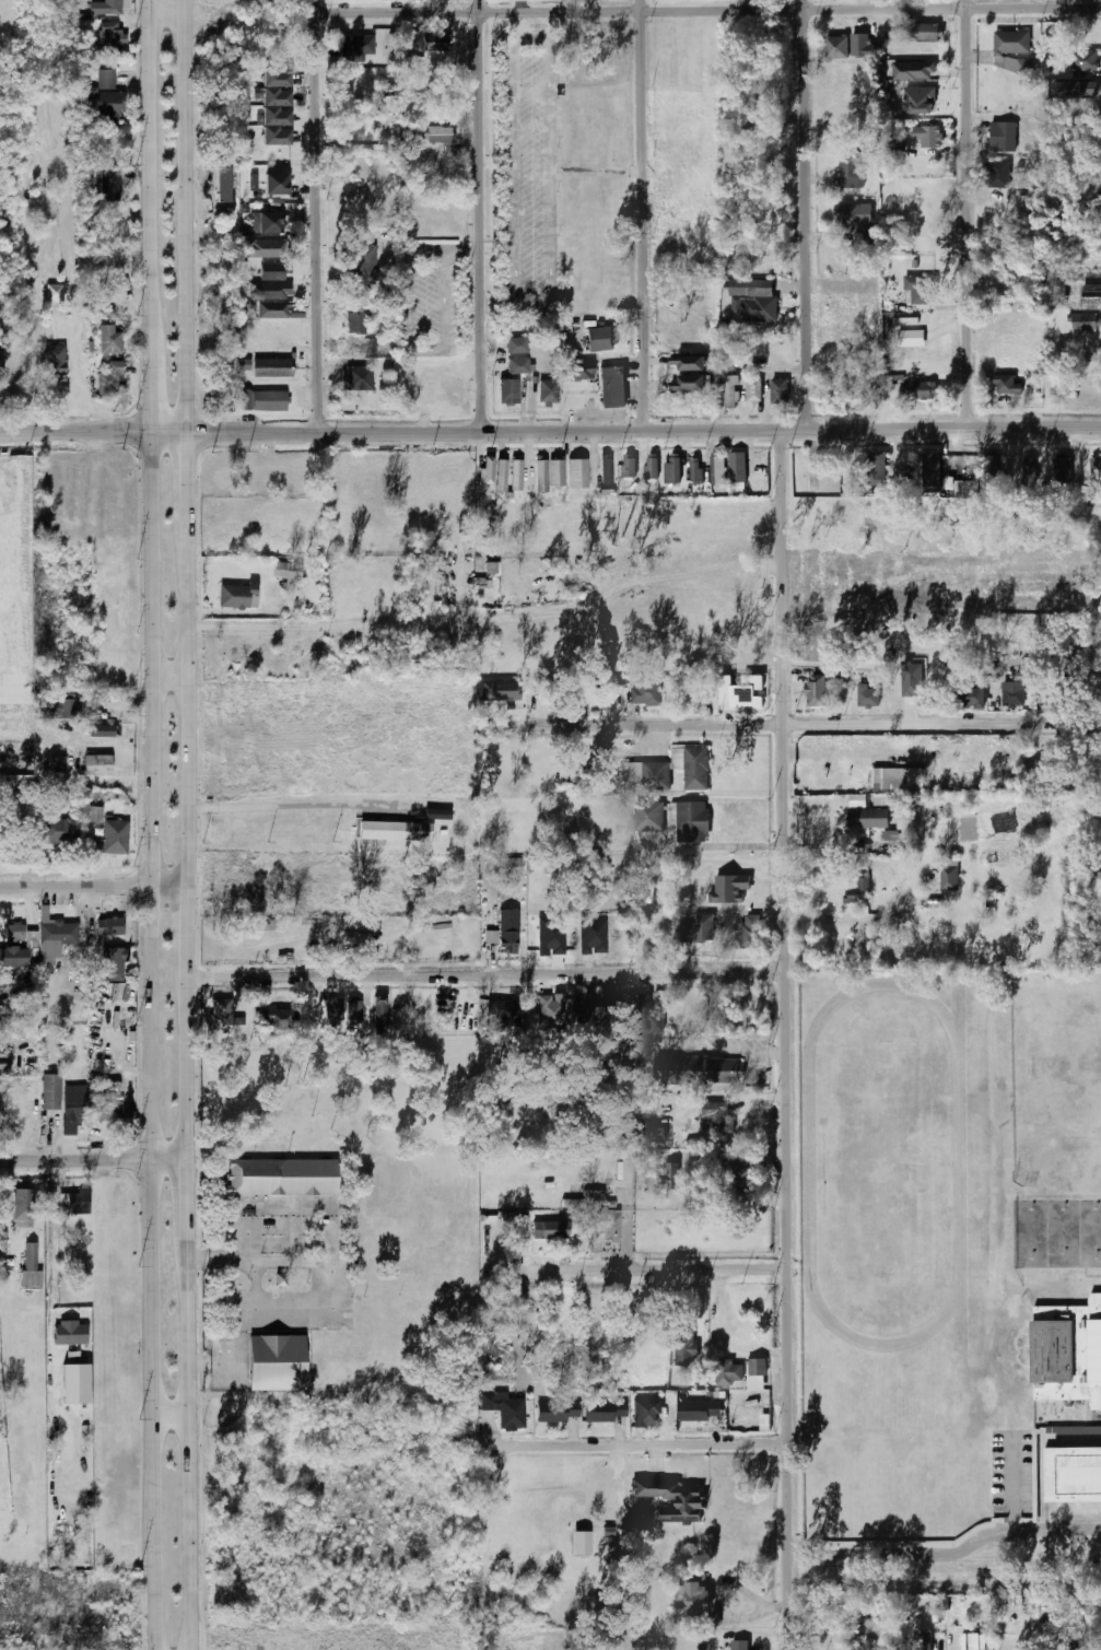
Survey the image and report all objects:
road: (569, 4)
building: (112, 7)
road: (314, 7)
road: (164, 9)
road: (706, 10)
building: (924, 33)
building: (110, 35)
building: (433, 42)
building: (1010, 43)
building: (859, 46)
building: (354, 47)
building: (835, 47)
building: (1084, 60)
building: (914, 71)
building: (276, 77)
building: (1076, 89)
building: (276, 96)
building: (103, 100)
building: (918, 101)
building: (276, 116)
building: (355, 131)
building: (411, 132)
building: (437, 133)
building: (276, 136)
building: (927, 136)
building: (1002, 137)
road: (147, 141)
building: (850, 173)
building: (997, 175)
building: (276, 184)
building: (108, 186)
road: (183, 214)
road: (809, 214)
building: (852, 214)
road: (967, 214)
road: (641, 215)
road: (478, 217)
building: (266, 222)
road: (317, 224)
building: (109, 229)
building: (263, 248)
road: (461, 253)
building: (365, 264)
building: (274, 271)
building: (738, 288)
building: (269, 291)
building: (916, 291)
building: (54, 293)
building: (1091, 296)
building: (250, 307)
building: (760, 309)
building: (272, 311)
building: (355, 320)
building: (1084, 321)
building: (912, 338)
building: (599, 339)
building: (108, 340)
building: (515, 346)
road: (413, 348)
road: (148, 358)
building: (1, 362)
building: (54, 363)
building: (690, 363)
building: (244, 364)
building: (517, 365)
building: (271, 367)
building: (581, 374)
building: (358, 378)
building: (108, 382)
road: (35, 383)
building: (687, 383)
building: (1006, 384)
building: (612, 386)
building: (753, 389)
building: (507, 390)
building: (923, 390)
building: (547, 391)
building: (730, 391)
building: (778, 391)
building: (266, 400)
road: (942, 431)
road: (391, 434)
building: (628, 465)
building: (651, 466)
building: (736, 466)
building: (695, 469)
building: (487, 470)
building: (606, 470)
building: (672, 470)
building: (715, 470)
building: (932, 470)
building: (1062, 470)
building: (875, 471)
building: (1028, 471)
building: (1094, 472)
building: (555, 473)
building: (989, 473)
building: (501, 475)
building: (516, 475)
building: (577, 475)
building: (540, 476)
building: (967, 489)
road: (185, 508)
building: (285, 571)
building: (236, 596)
road: (557, 609)
road: (254, 628)
road: (165, 677)
building: (618, 682)
building: (500, 690)
building: (816, 690)
building: (742, 692)
building: (646, 693)
building: (914, 693)
building: (866, 695)
building: (1012, 697)
building: (968, 698)
building: (67, 709)
road: (784, 724)
building: (102, 730)
road: (185, 736)
building: (59, 764)
building: (96, 765)
building: (691, 765)
building: (642, 776)
building: (897, 779)
building: (1036, 780)
road: (274, 800)
building: (93, 814)
building: (437, 814)
building: (871, 815)
building: (648, 817)
building: (691, 822)
building: (396, 830)
building: (56, 831)
building: (114, 838)
building: (504, 863)
building: (948, 874)
road: (93, 887)
building: (730, 889)
building: (858, 892)
building: (108, 926)
building: (698, 929)
building: (55, 931)
building: (506, 931)
building: (14, 932)
road: (185, 932)
building: (749, 932)
building: (551, 938)
building: (32, 939)
building: (13, 958)
building: (113, 963)
road: (485, 974)
building: (333, 1007)
building: (504, 1009)
building: (378, 1010)
building: (353, 1013)
building: (550, 1013)
building: (224, 1018)
building: (280, 1020)
road: (151, 1040)
road: (787, 1040)
road: (187, 1065)
building: (696, 1069)
building: (49, 1091)
building: (28, 1113)
building: (71, 1114)
building: (717, 1117)
building: (654, 1134)
road: (95, 1155)
building: (733, 1170)
building: (672, 1175)
building: (281, 1178)
building: (77, 1202)
building: (23, 1207)
building: (600, 1213)
road: (190, 1220)
road: (628, 1227)
building: (550, 1230)
building: (31, 1268)
road: (640, 1271)
road: (51, 1278)
building: (70, 1333)
building: (684, 1351)
building: (1067, 1351)
building: (277, 1362)
building: (728, 1372)
building: (756, 1374)
road: (174, 1408)
building: (507, 1411)
building: (557, 1411)
building: (605, 1411)
building: (699, 1411)
building: (646, 1412)
road: (604, 1439)
road: (195, 1468)
building: (1073, 1474)
building: (668, 1500)
road: (947, 1550)
building: (696, 1601)
building: (922, 1640)
building: (977, 1641)
building: (738, 1646)

